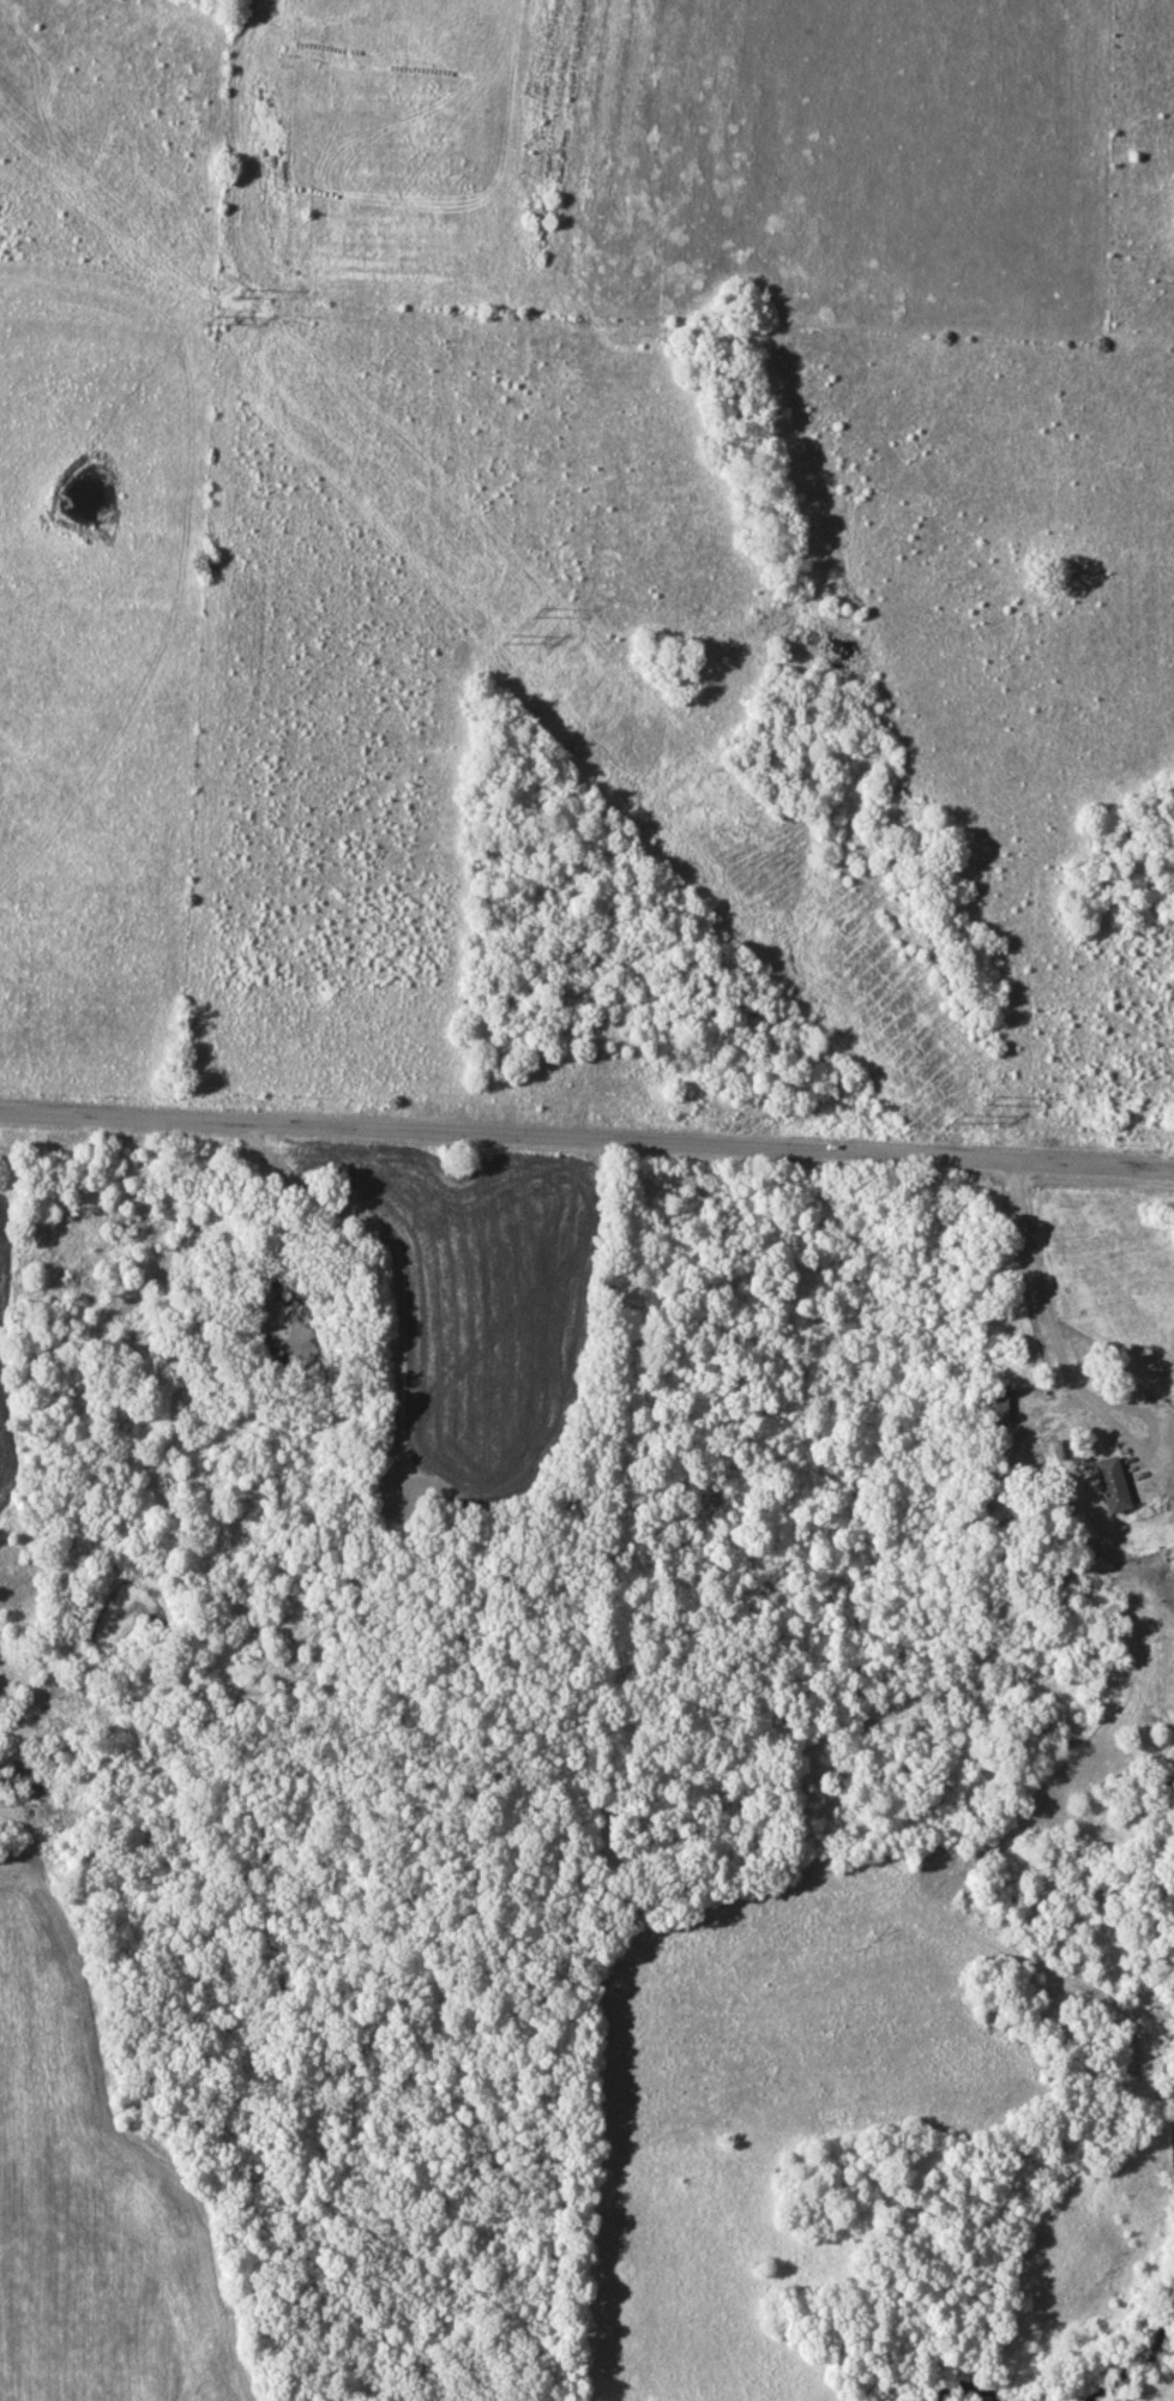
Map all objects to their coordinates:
power tower: (236, 294)
power tower: (209, 321)
power tower: (534, 613)
power tower: (508, 639)
power tower: (987, 1099)
power tower: (952, 1117)
road: (586, 1141)
road: (1066, 1373)
building: (993, 1406)
building: (1108, 1484)
building: (1172, 1563)

